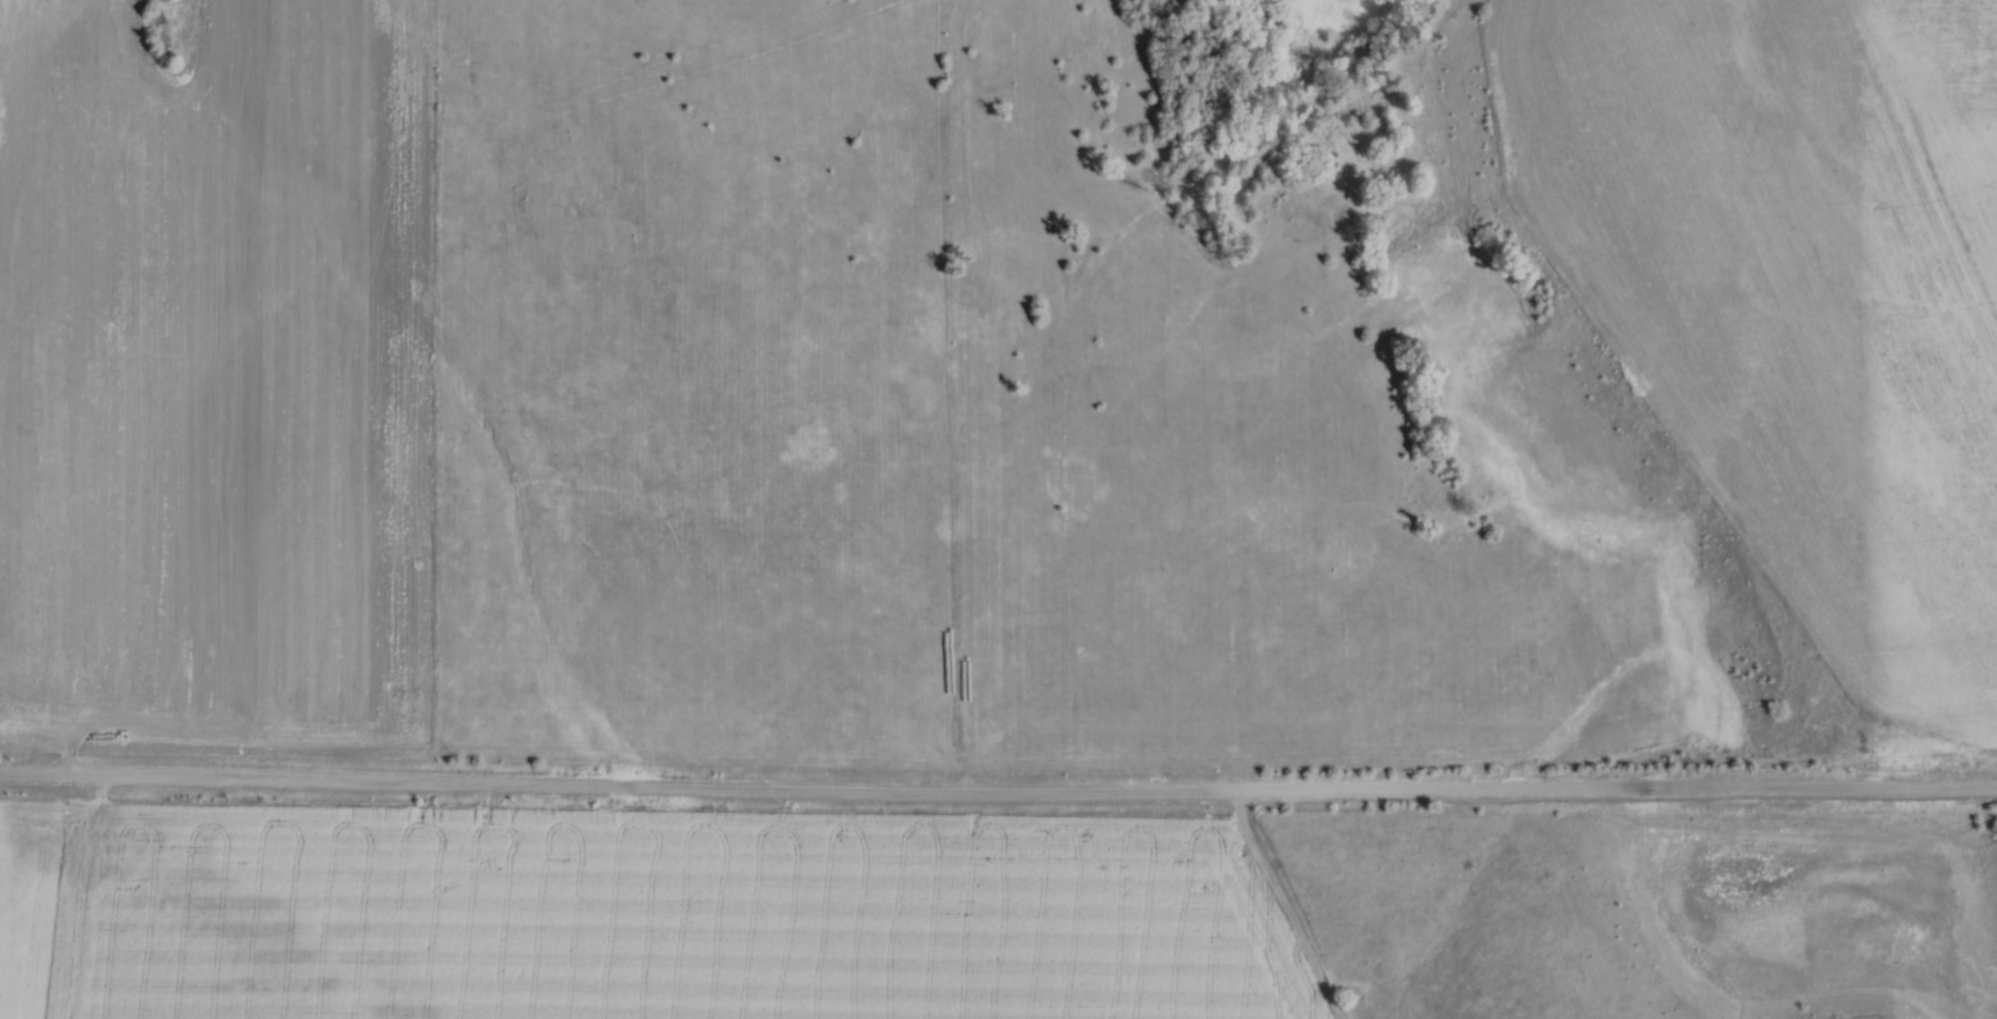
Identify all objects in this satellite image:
road: (998, 797)
road: (1285, 908)

